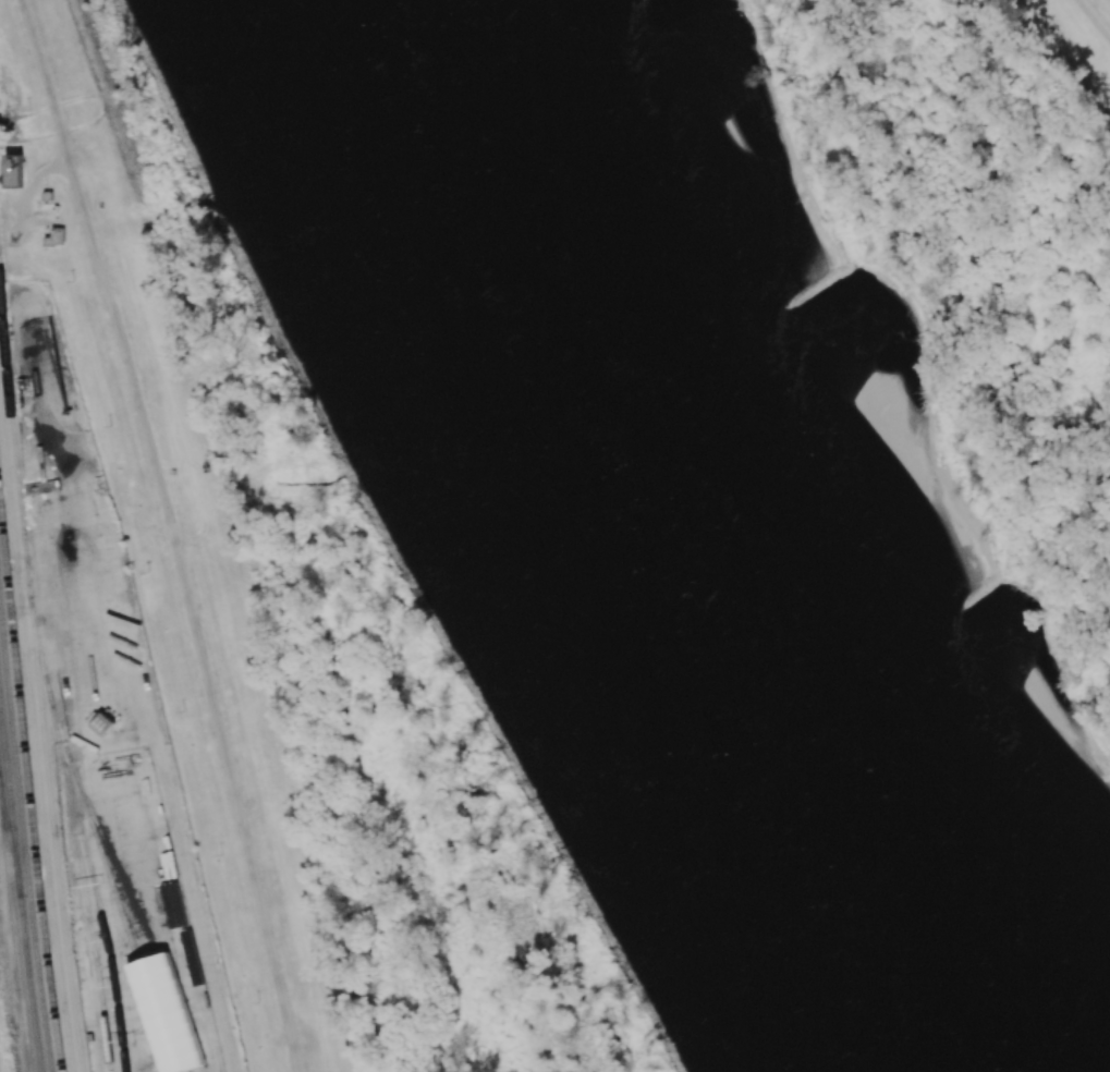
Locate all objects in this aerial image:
road: (1094, 19)
building: (13, 171)
building: (54, 237)
river: (681, 539)
railway: (37, 681)
building: (101, 724)
railway: (34, 740)
railway: (29, 778)
railway: (24, 827)
railway: (75, 832)
railway: (11, 842)
railway: (107, 873)
railway: (20, 881)
building: (173, 905)
railway: (100, 916)
railway: (139, 918)
railway: (14, 938)
building: (166, 1014)
railway: (0, 1065)
railway: (31, 1069)

